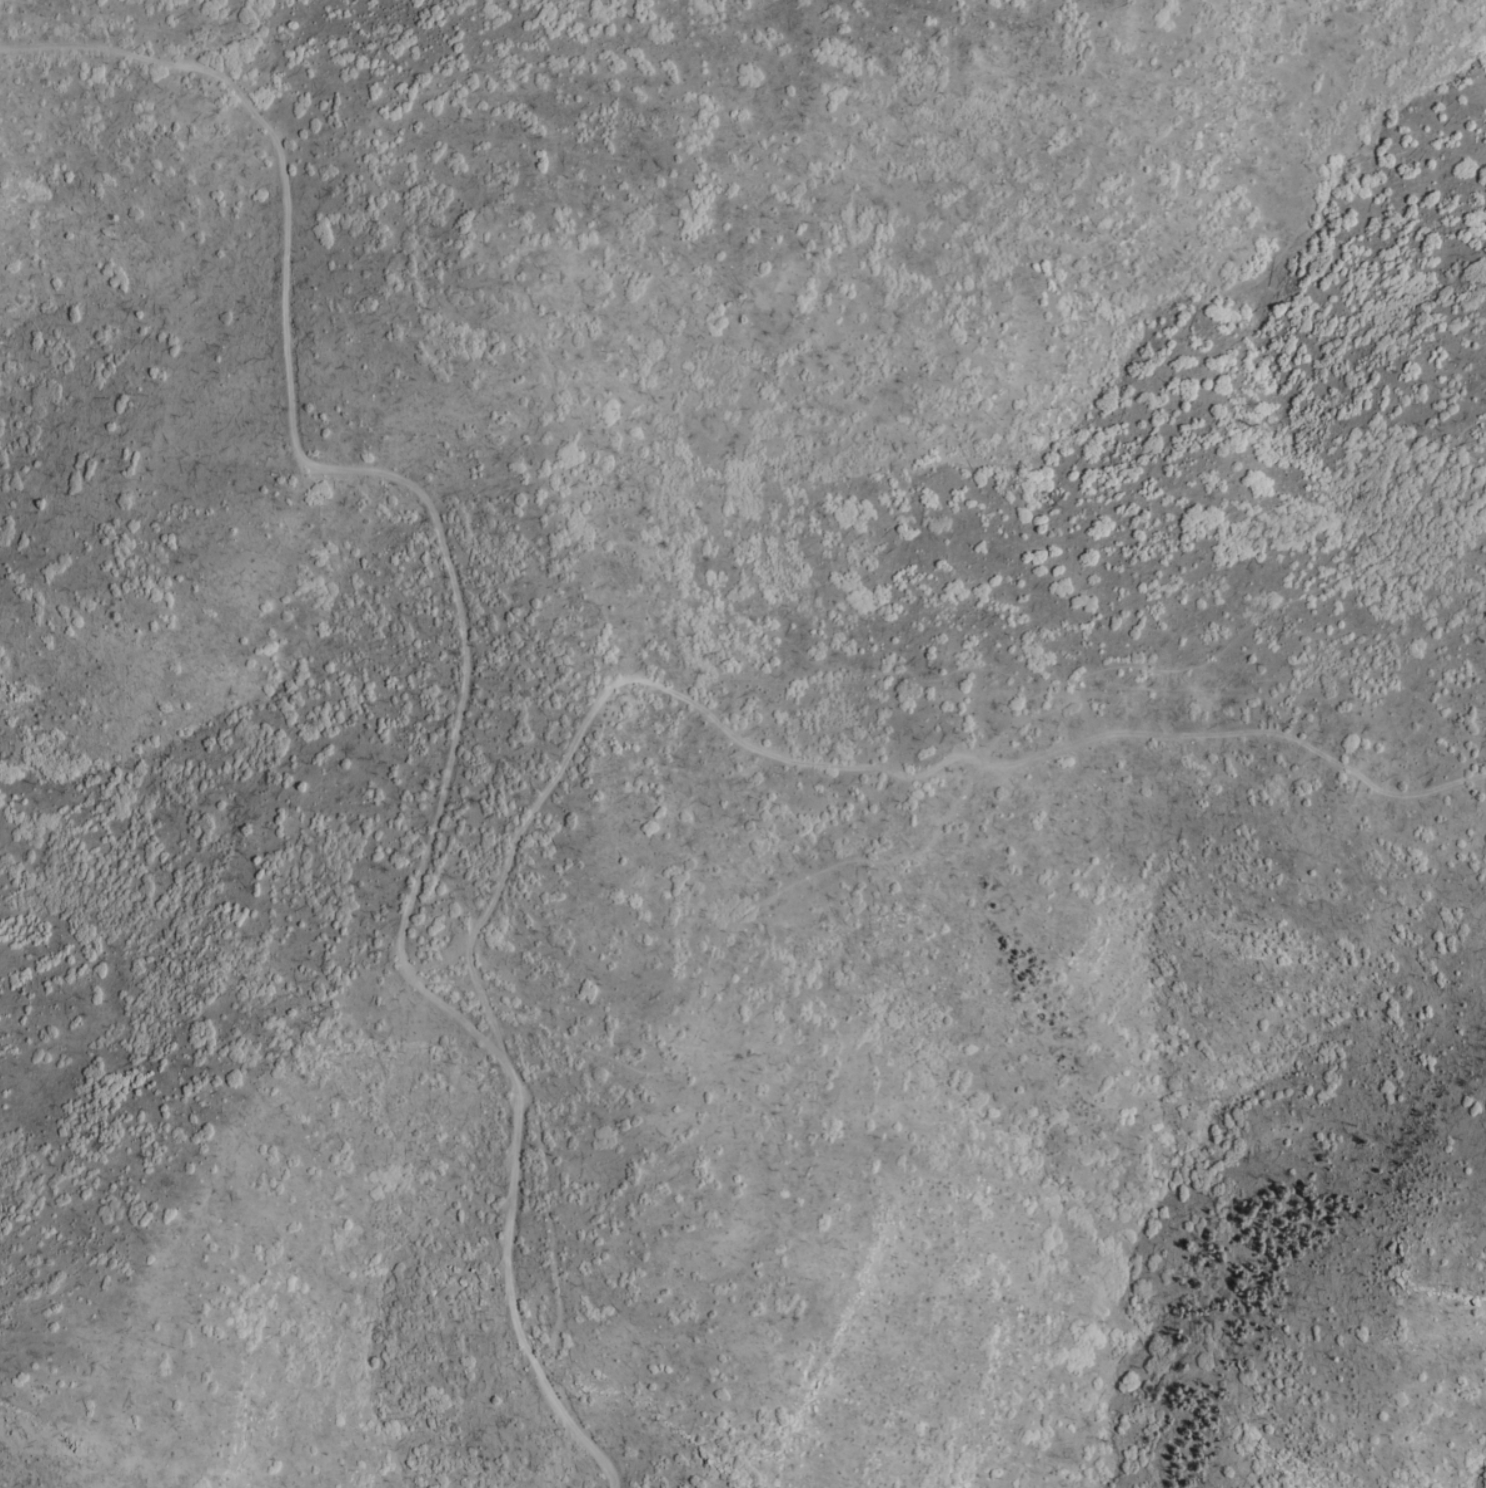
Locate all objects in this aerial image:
road: (359, 469)
road: (844, 766)
road: (957, 807)
road: (511, 1287)

